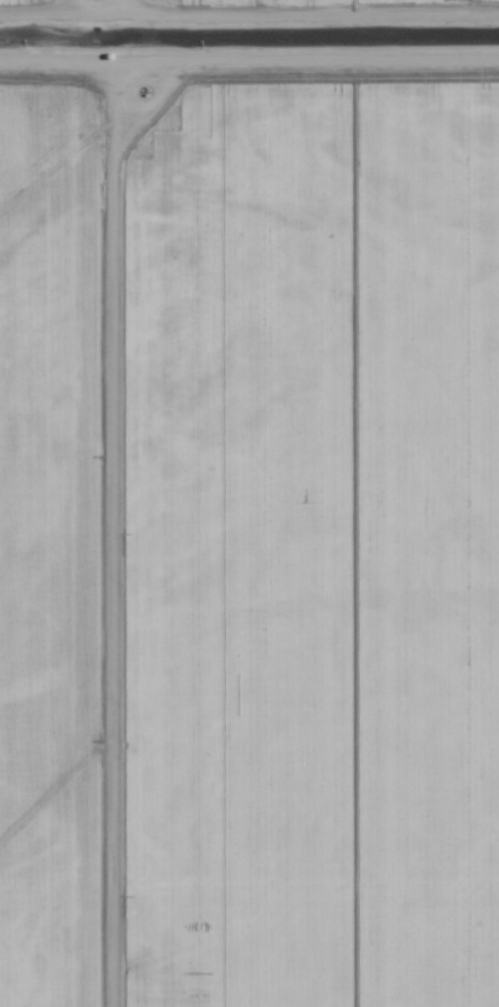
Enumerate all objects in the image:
road: (113, 7)
road: (249, 58)
road: (114, 532)

